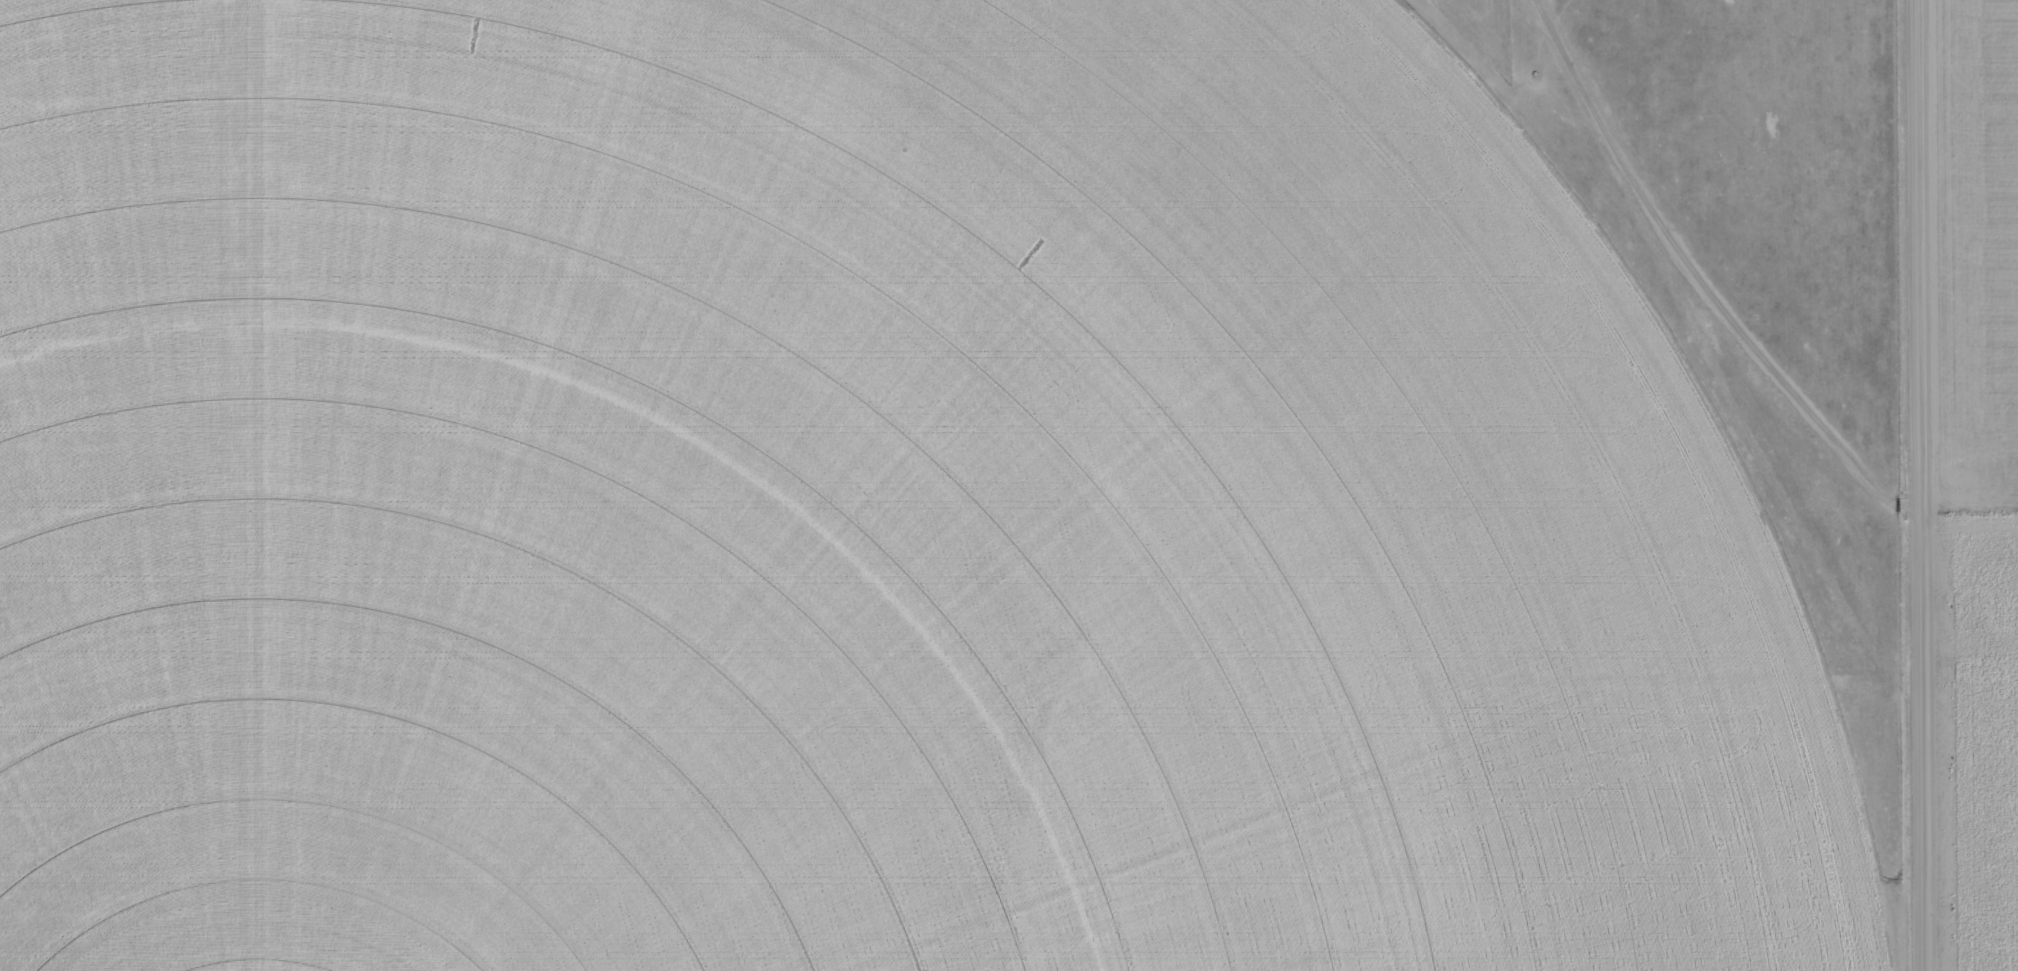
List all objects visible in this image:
road: (1916, 485)

